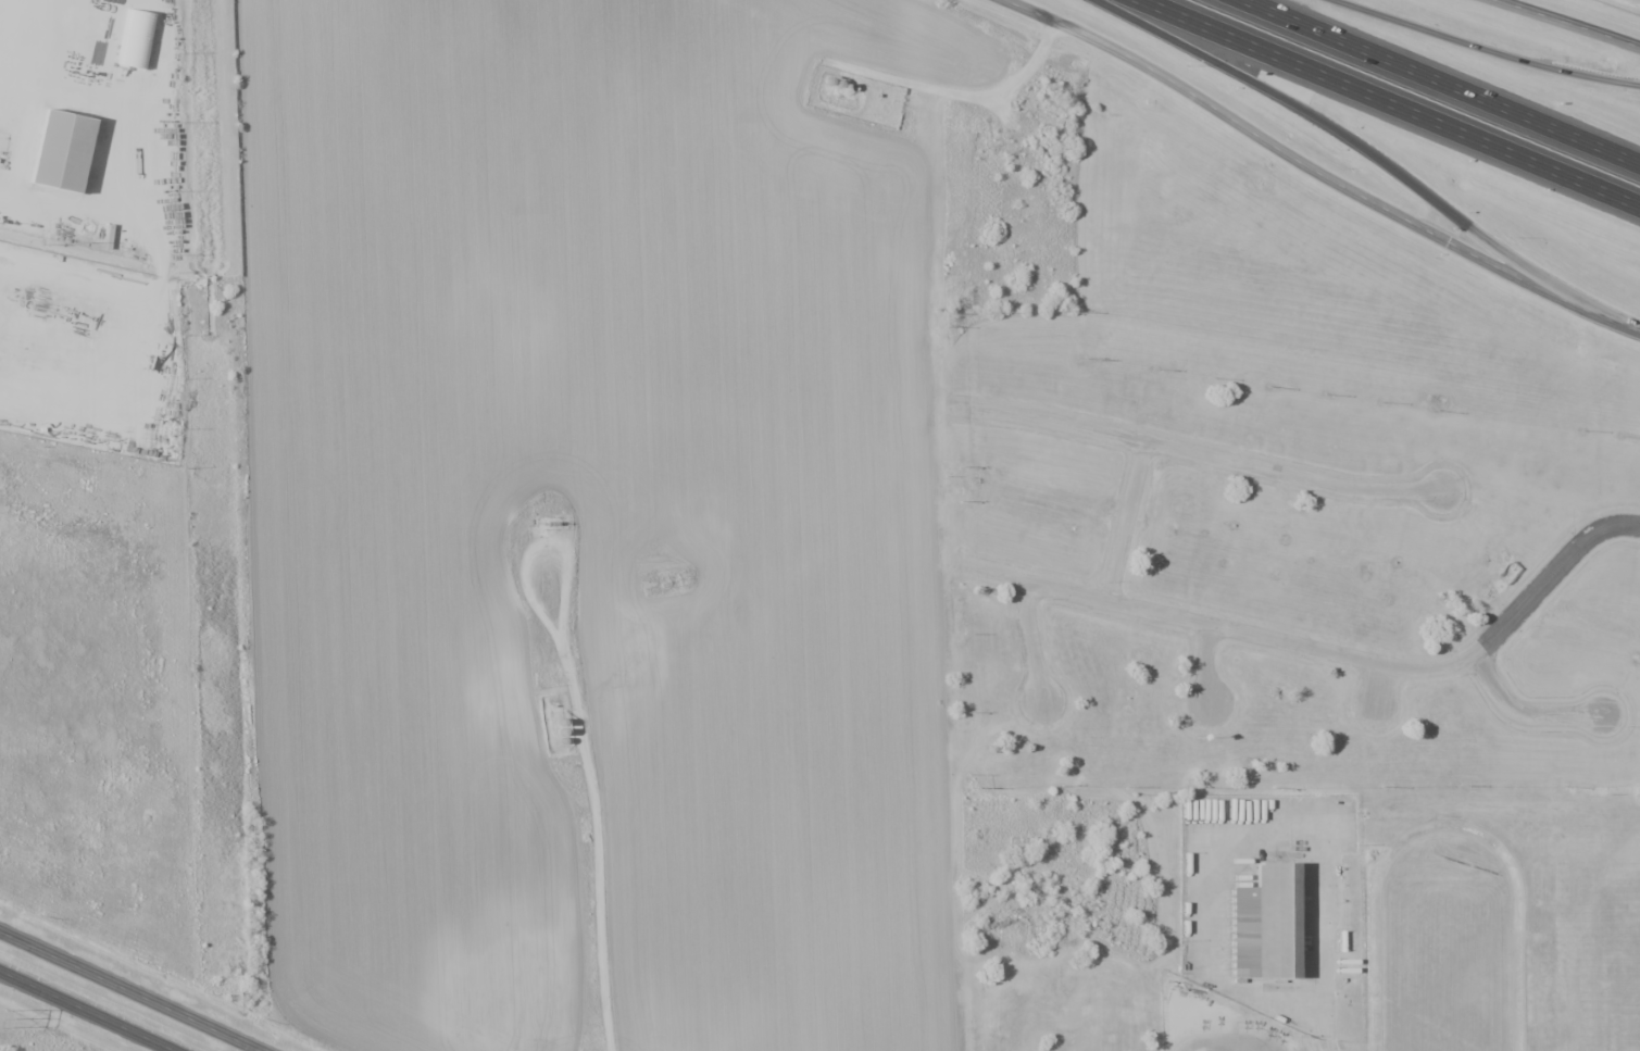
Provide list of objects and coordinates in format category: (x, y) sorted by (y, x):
road: (1563, 27)
road: (1478, 48)
road: (1450, 78)
road: (1391, 103)
building: (55, 134)
road: (1367, 148)
road: (1315, 171)
road: (1203, 454)
crop: (608, 517)
road: (1131, 523)
road: (1035, 643)
road: (1327, 652)
road: (1213, 664)
road: (1386, 684)
road: (1532, 706)
building: (1282, 925)
building: (1243, 933)
road: (1322, 958)
road: (130, 990)
road: (86, 1011)
power tower: (3, 1018)

